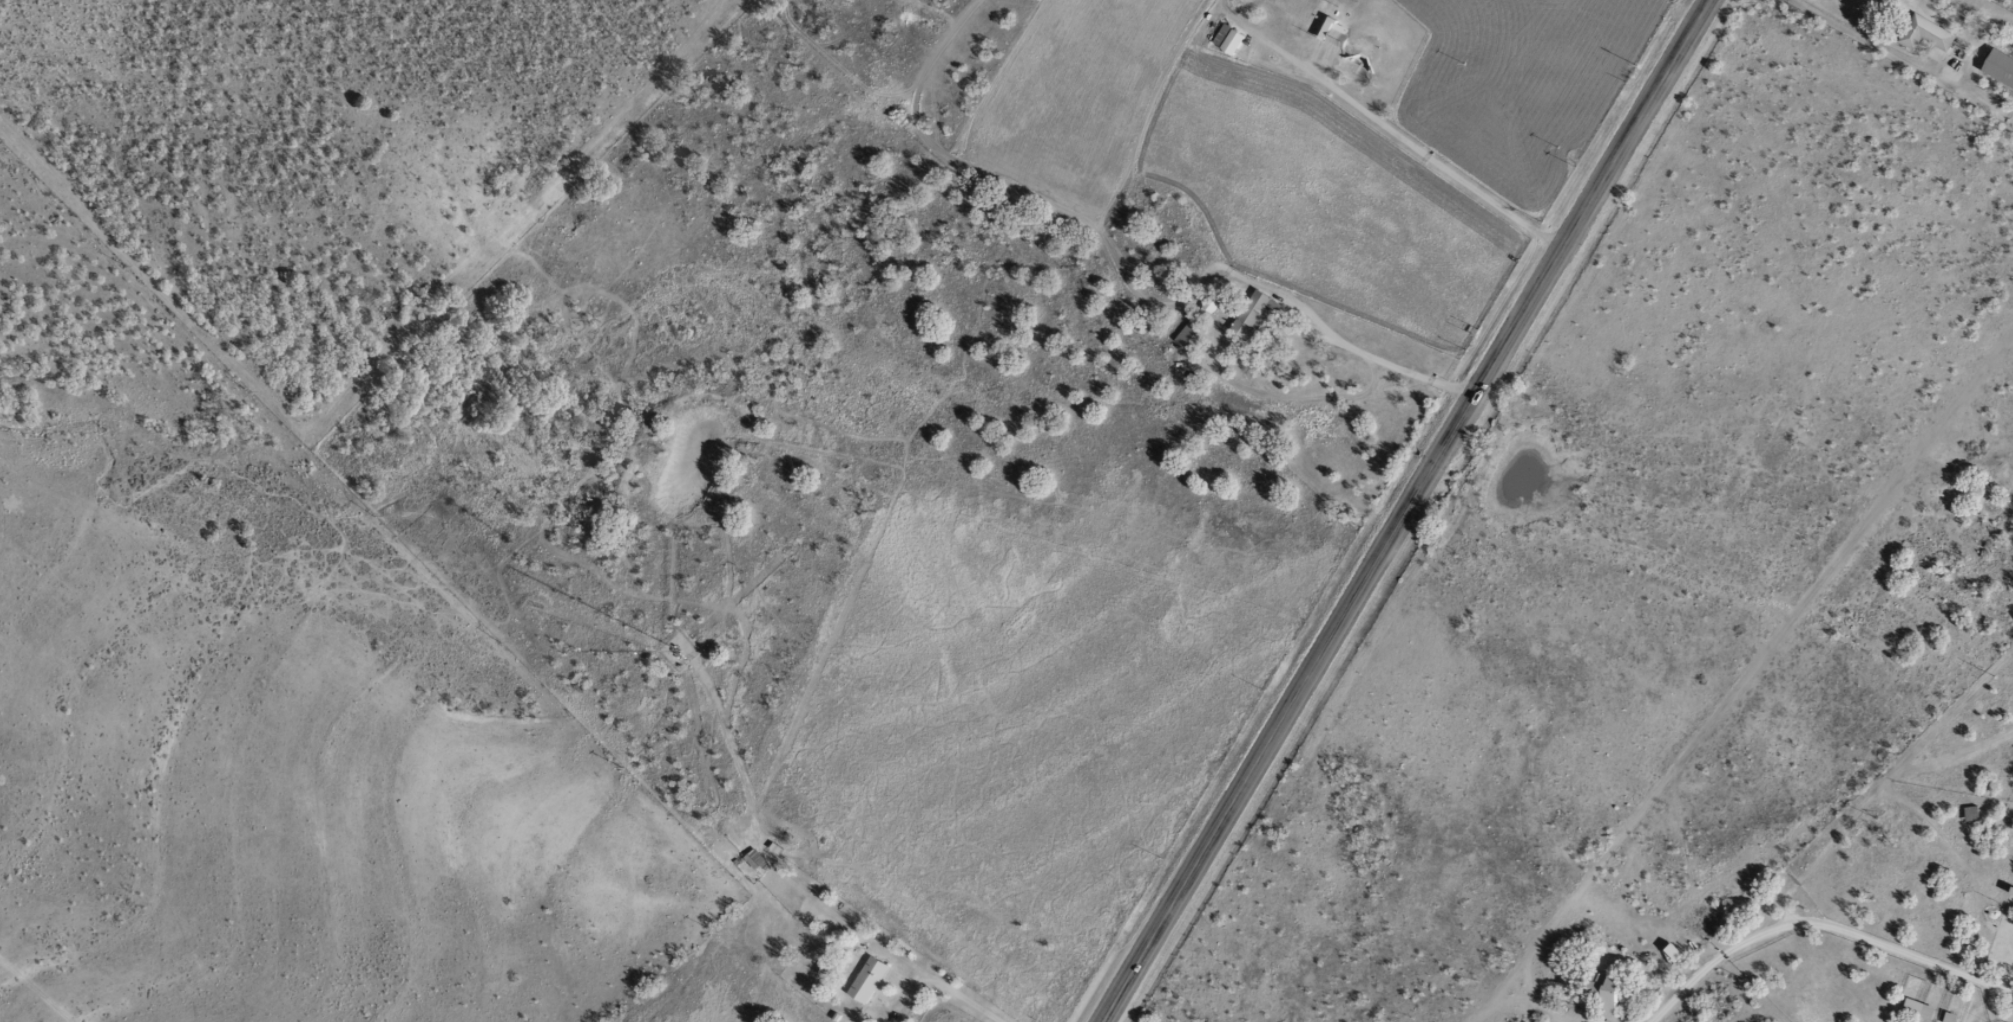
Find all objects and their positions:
building: (1330, 32)
building: (1922, 34)
building: (1223, 39)
building: (1997, 67)
building: (1209, 305)
building: (1258, 309)
building: (1186, 333)
road: (1402, 511)
building: (1967, 813)
building: (755, 859)
building: (868, 979)
building: (1600, 990)
building: (1914, 1008)
building: (1946, 1017)

